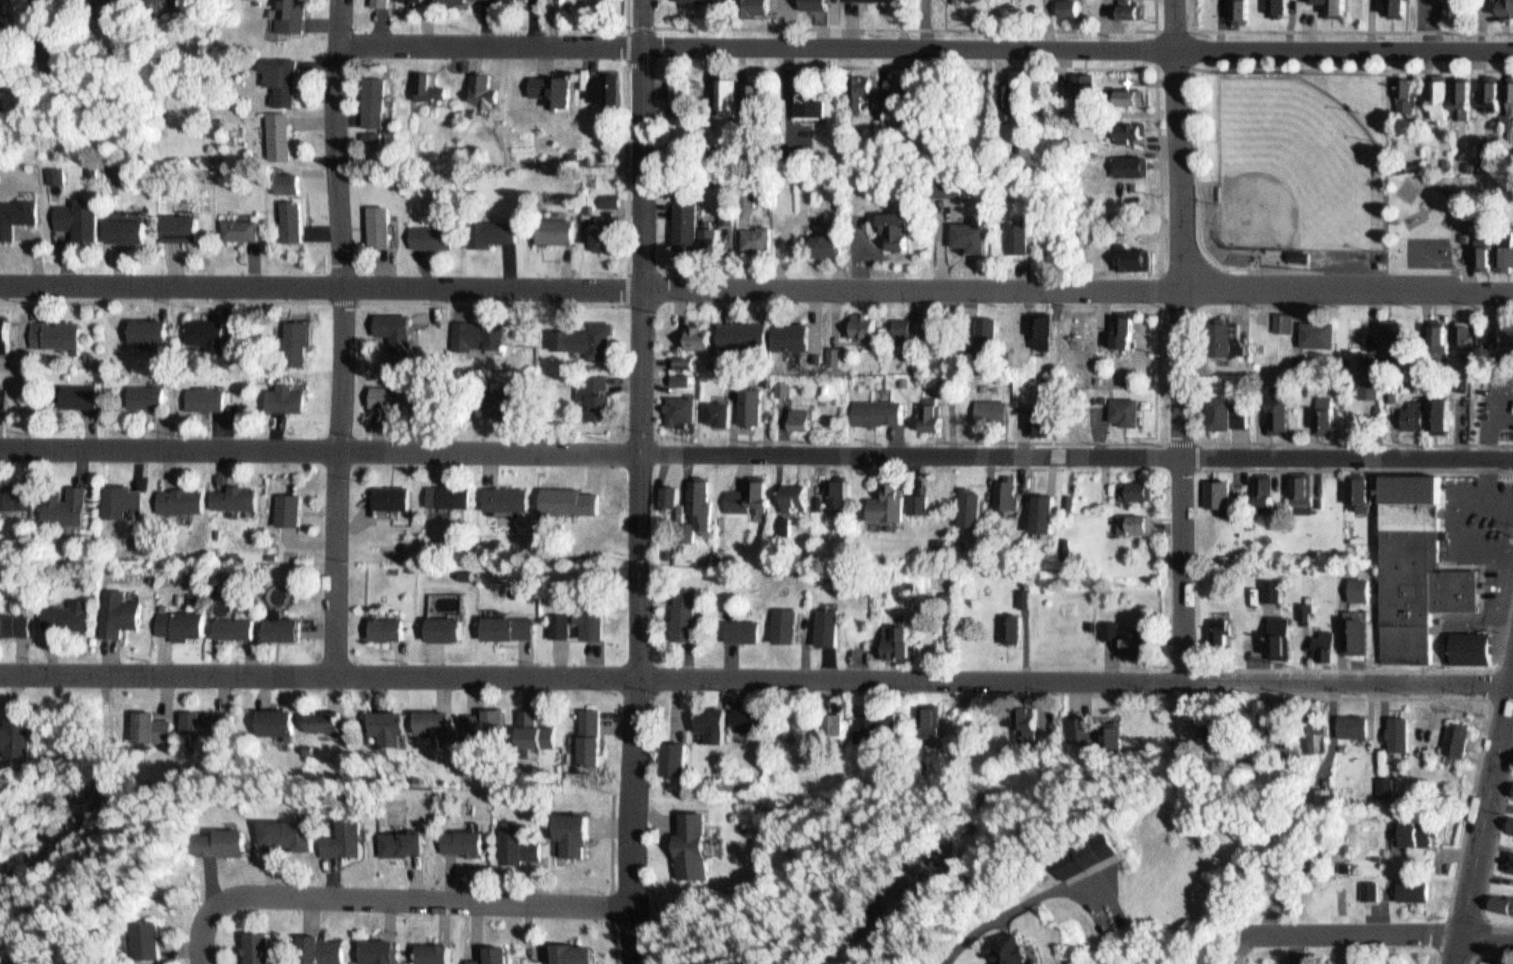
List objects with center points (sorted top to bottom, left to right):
building: (145, 0)
building: (417, 0)
building: (508, 0)
building: (698, 0)
building: (875, 0)
building: (156, 1)
building: (377, 1)
building: (811, 1)
building: (965, 1)
building: (388, 2)
building: (748, 2)
building: (1274, 3)
building: (1063, 5)
building: (1126, 5)
building: (1342, 6)
building: (1400, 6)
building: (1074, 8)
building: (1509, 8)
building: (1460, 9)
building: (98, 10)
road: (626, 10)
building: (1232, 10)
building: (286, 14)
road: (922, 25)
road: (1340, 30)
building: (49, 44)
road: (927, 45)
road: (628, 60)
road: (1009, 66)
road: (1196, 68)
road: (1298, 69)
building: (278, 75)
building: (895, 79)
building: (1076, 82)
building: (425, 83)
building: (479, 84)
building: (553, 84)
building: (605, 85)
building: (855, 86)
building: (725, 87)
building: (677, 89)
building: (487, 90)
building: (1442, 90)
building: (1465, 90)
building: (1129, 91)
building: (1409, 92)
building: (1491, 92)
building: (1004, 93)
building: (1509, 93)
building: (805, 96)
building: (1012, 97)
building: (754, 99)
building: (374, 101)
building: (1127, 124)
building: (277, 131)
building: (1132, 132)
building: (1495, 149)
building: (1125, 161)
road: (626, 164)
park: (1297, 165)
building: (50, 172)
building: (283, 179)
park: (1326, 179)
building: (13, 210)
building: (721, 210)
building: (728, 214)
building: (73, 218)
building: (287, 218)
building: (682, 220)
building: (898, 221)
building: (379, 223)
building: (174, 224)
building: (120, 226)
building: (235, 226)
building: (557, 228)
building: (491, 229)
building: (607, 230)
building: (970, 231)
building: (431, 233)
building: (705, 233)
building: (753, 235)
building: (1010, 235)
building: (712, 238)
building: (1023, 239)
building: (828, 242)
building: (1486, 248)
park: (1429, 251)
building: (1506, 251)
building: (1128, 254)
building: (1301, 255)
road: (626, 282)
road: (756, 286)
road: (160, 294)
road: (336, 295)
road: (489, 296)
building: (1280, 317)
building: (1286, 322)
building: (857, 323)
building: (390, 324)
building: (931, 325)
building: (141, 326)
building: (903, 326)
building: (1035, 326)
building: (1116, 327)
building: (1460, 328)
building: (1314, 329)
building: (982, 330)
building: (1128, 330)
building: (1390, 330)
building: (1492, 330)
building: (48, 331)
building: (198, 331)
building: (479, 331)
building: (740, 331)
building: (1045, 331)
building: (788, 332)
building: (694, 333)
building: (4, 334)
road: (337, 334)
building: (593, 335)
building: (1217, 335)
building: (1434, 335)
building: (1469, 337)
building: (291, 338)
road: (1185, 339)
building: (1398, 340)
building: (830, 352)
building: (1365, 357)
building: (680, 358)
building: (688, 362)
building: (677, 374)
building: (724, 375)
building: (684, 380)
building: (777, 382)
building: (1367, 385)
building: (594, 391)
building: (71, 392)
building: (137, 392)
building: (386, 393)
building: (280, 394)
building: (199, 395)
building: (496, 399)
building: (744, 402)
building: (986, 406)
building: (1120, 406)
building: (677, 407)
building: (872, 407)
building: (712, 408)
building: (1322, 408)
building: (1220, 409)
building: (1427, 409)
building: (1276, 410)
building: (925, 411)
building: (1330, 414)
building: (1446, 414)
building: (794, 415)
building: (1034, 416)
building: (933, 417)
road: (1049, 441)
road: (1197, 441)
road: (1356, 443)
road: (756, 454)
road: (1355, 468)
road: (644, 482)
building: (1132, 485)
building: (1355, 486)
building: (830, 487)
building: (1299, 487)
building: (1213, 488)
building: (1002, 489)
building: (14, 491)
building: (1259, 491)
building: (389, 492)
building: (447, 492)
building: (742, 492)
building: (1268, 492)
building: (230, 493)
building: (505, 493)
building: (785, 493)
building: (837, 493)
building: (666, 494)
building: (111, 496)
building: (675, 496)
building: (175, 497)
building: (881, 498)
building: (912, 499)
building: (962, 500)
building: (921, 503)
building: (284, 505)
building: (60, 506)
building: (693, 506)
building: (974, 507)
building: (1039, 508)
building: (1051, 513)
building: (1130, 518)
building: (589, 519)
building: (777, 520)
building: (935, 537)
building: (1418, 569)
building: (464, 570)
building: (1356, 582)
building: (1270, 586)
building: (1021, 590)
building: (1303, 605)
building: (114, 608)
building: (679, 608)
building: (64, 610)
building: (688, 613)
building: (1308, 613)
building: (178, 618)
building: (557, 620)
building: (1219, 620)
building: (13, 621)
building: (279, 621)
building: (588, 621)
building: (779, 621)
building: (232, 622)
building: (385, 622)
building: (505, 622)
building: (1009, 622)
building: (442, 623)
building: (822, 623)
building: (565, 624)
building: (790, 625)
building: (738, 626)
building: (832, 626)
building: (1354, 629)
building: (1279, 630)
building: (1120, 632)
building: (1223, 634)
building: (893, 636)
building: (1322, 640)
building: (1471, 647)
road: (1386, 669)
road: (756, 675)
road: (1492, 685)
road: (1484, 696)
building: (746, 712)
building: (928, 713)
building: (323, 714)
building: (1025, 714)
building: (276, 715)
building: (209, 716)
building: (432, 717)
building: (709, 717)
building: (484, 718)
building: (833, 718)
building: (876, 719)
building: (1349, 719)
building: (757, 720)
building: (384, 721)
building: (153, 723)
building: (1091, 724)
building: (534, 726)
building: (1392, 727)
building: (13, 730)
building: (588, 733)
building: (1451, 734)
building: (598, 737)
building: (1314, 737)
building: (306, 742)
building: (677, 753)
building: (1379, 781)
building: (1387, 785)
building: (1318, 790)
building: (1512, 790)
road: (1500, 806)
building: (1509, 820)
road: (1482, 825)
building: (576, 827)
building: (1412, 828)
building: (284, 830)
building: (1512, 831)
building: (339, 835)
building: (463, 836)
building: (221, 839)
building: (395, 839)
building: (698, 840)
road: (1496, 840)
building: (520, 841)
building: (1507, 855)
building: (1085, 856)
building: (1339, 860)
building: (1363, 884)
building: (1409, 884)
building: (1500, 897)
road: (431, 899)
road: (205, 929)
road: (1486, 936)
road: (1350, 937)
building: (314, 942)
building: (251, 944)
building: (373, 948)
building: (1002, 948)
building: (432, 949)
building: (149, 950)
building: (573, 951)
building: (492, 953)
road: (1437, 953)
road: (1435, 958)
road: (1472, 958)

